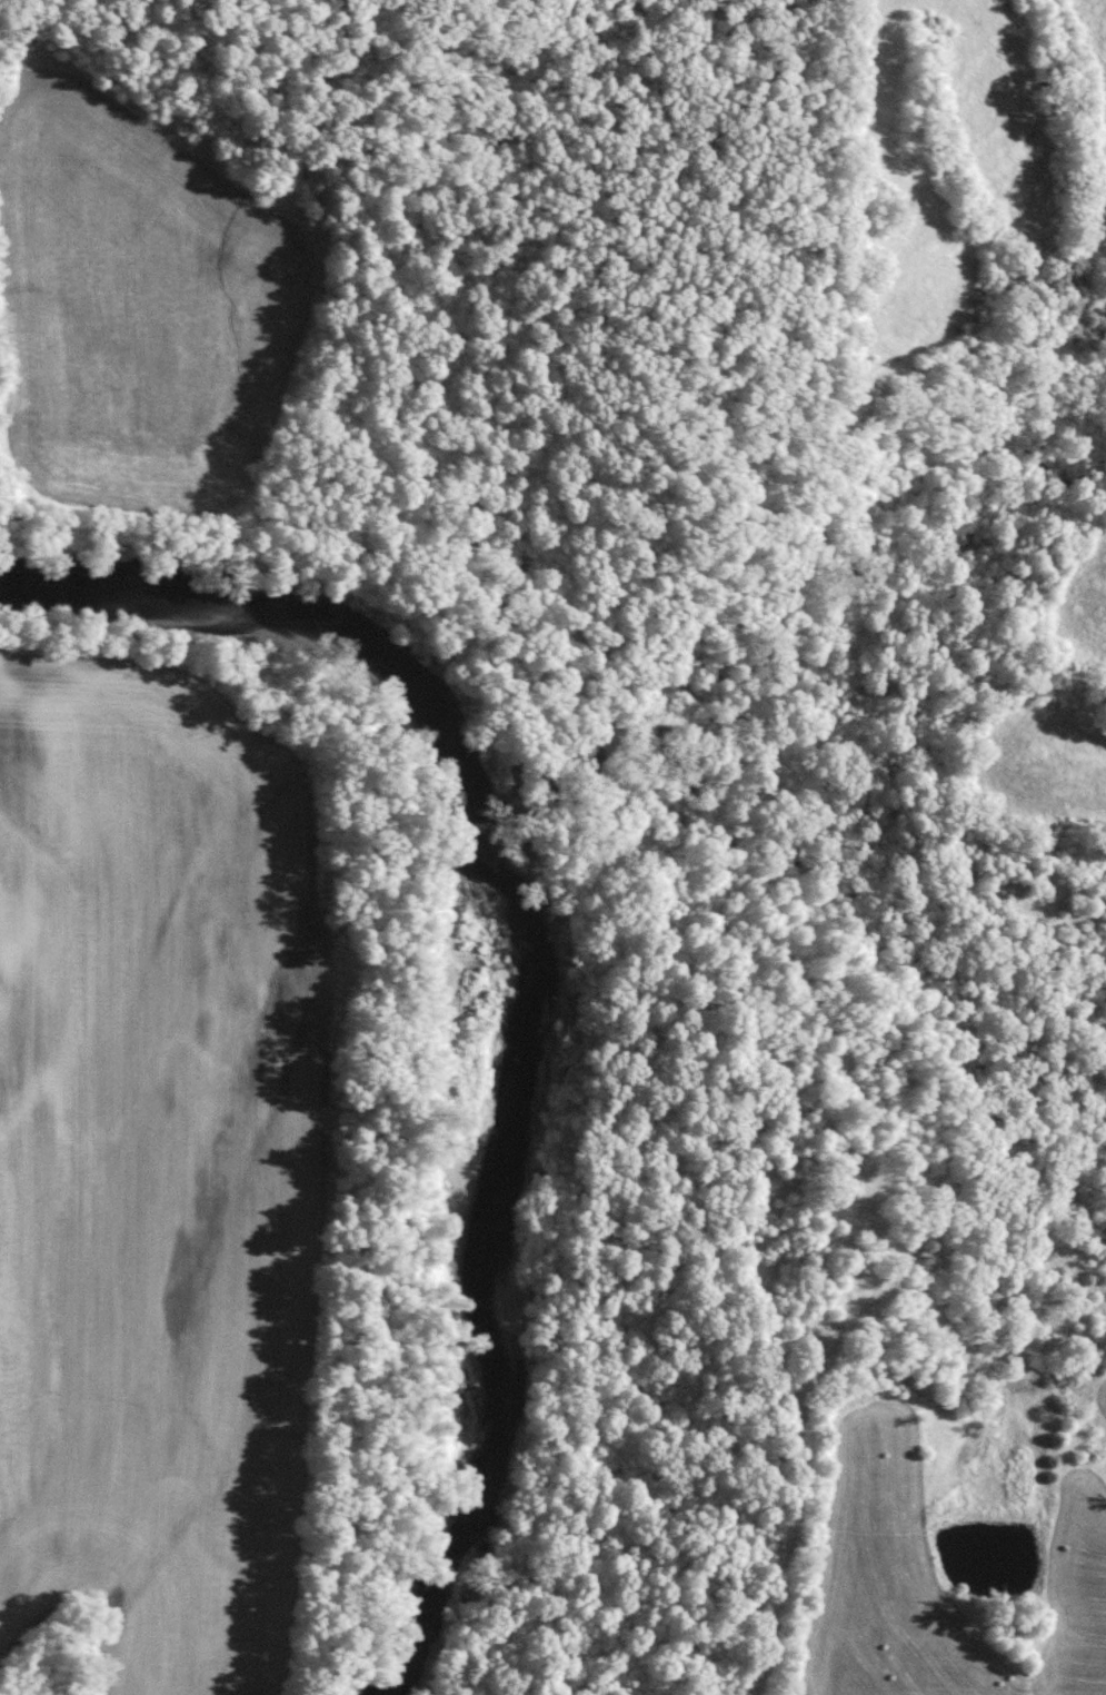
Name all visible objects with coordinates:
river: (536, 969)

